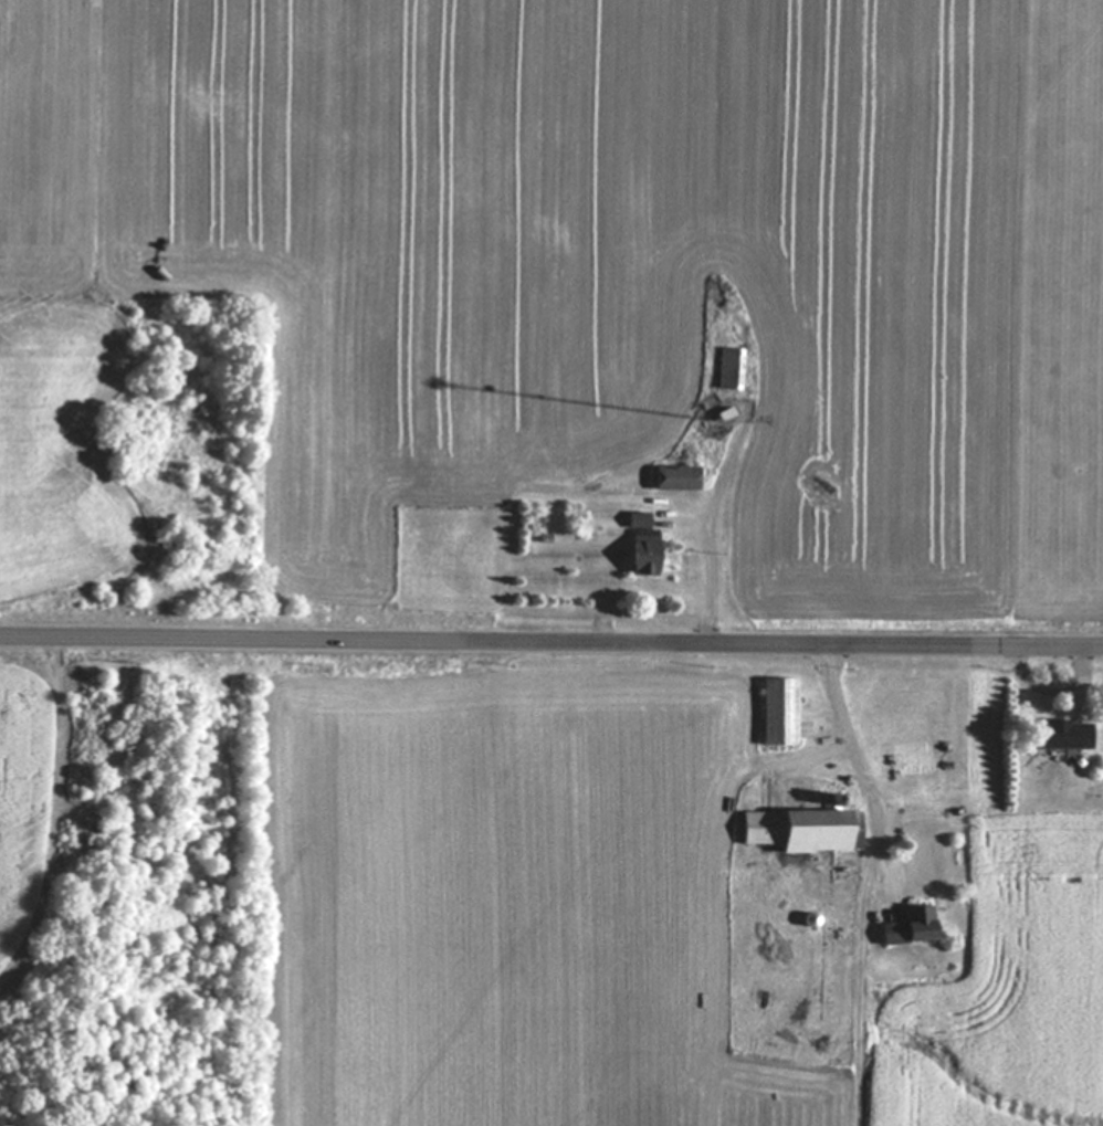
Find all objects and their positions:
building: (727, 370)
building: (673, 478)
building: (641, 545)
road: (713, 585)
road: (551, 644)
road: (1059, 691)
building: (776, 713)
road: (850, 736)
building: (1059, 737)
building: (801, 831)
building: (906, 927)

